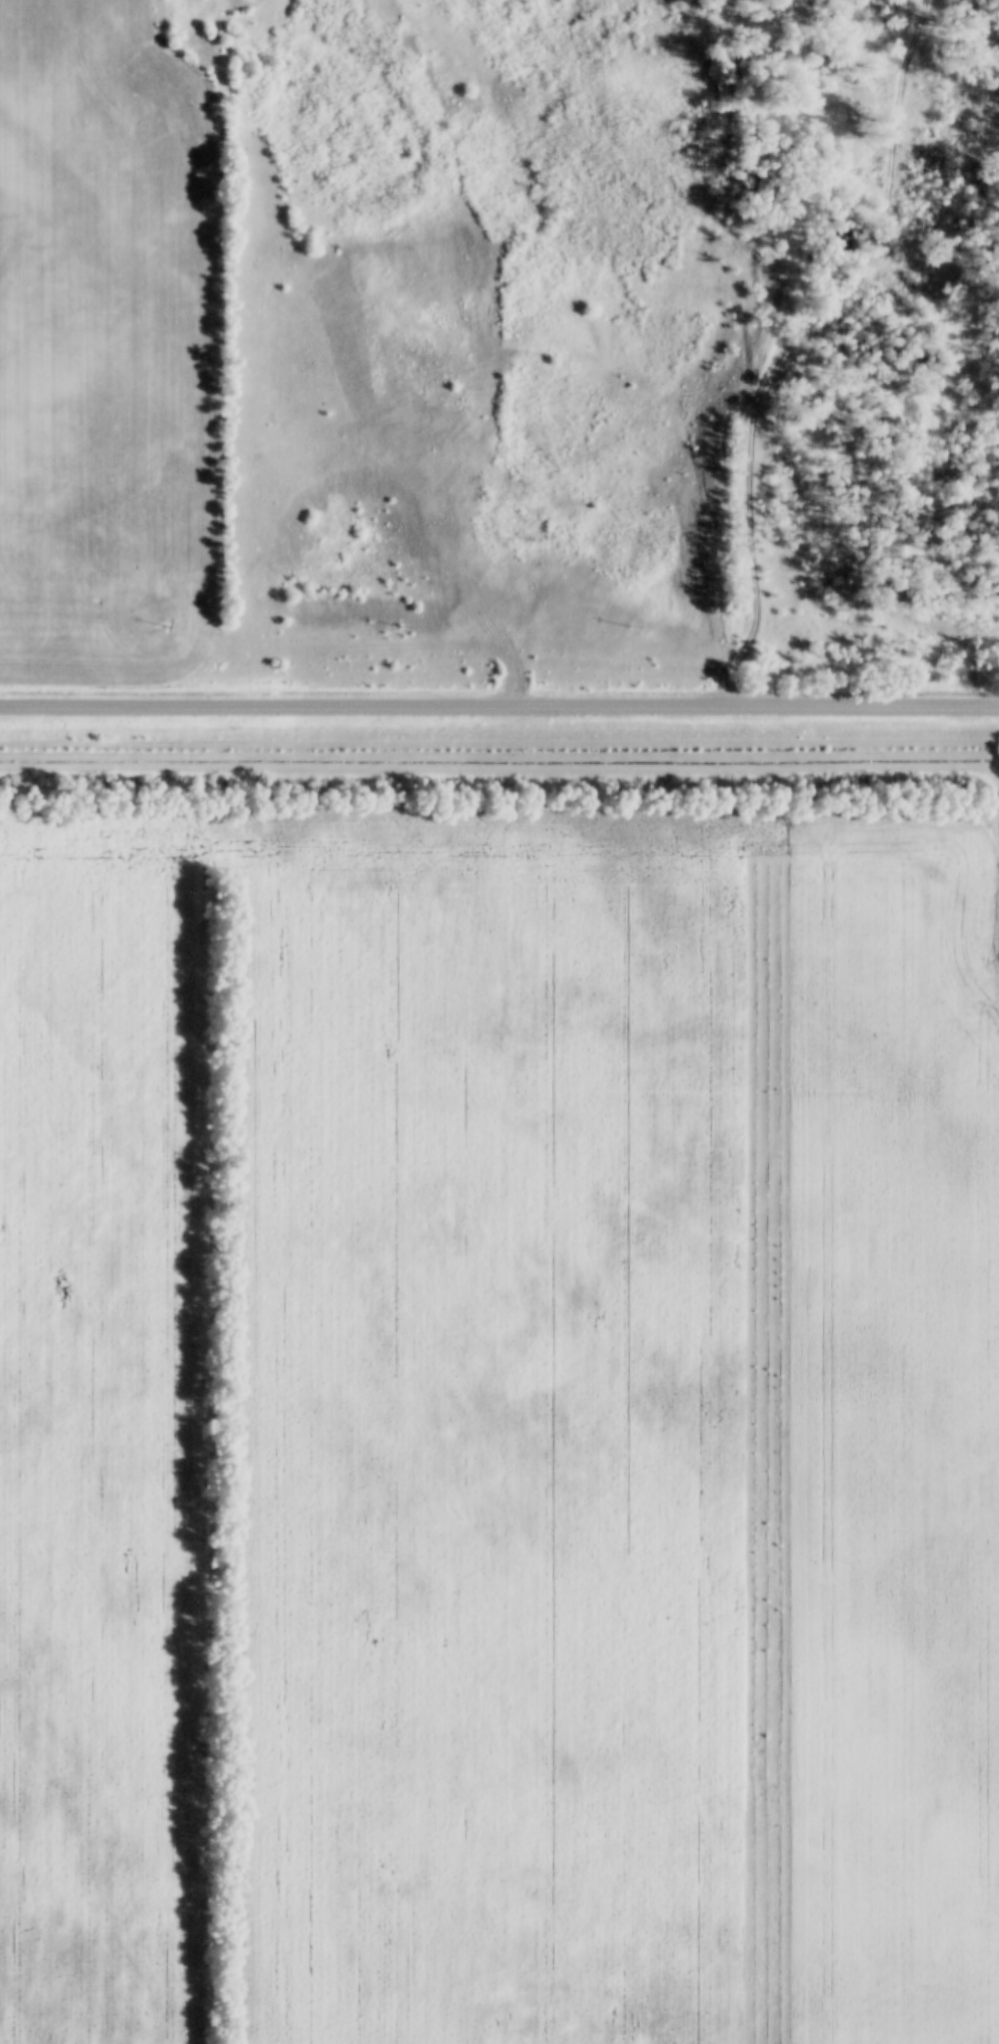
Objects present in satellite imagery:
road: (788, 343)
road: (499, 707)

